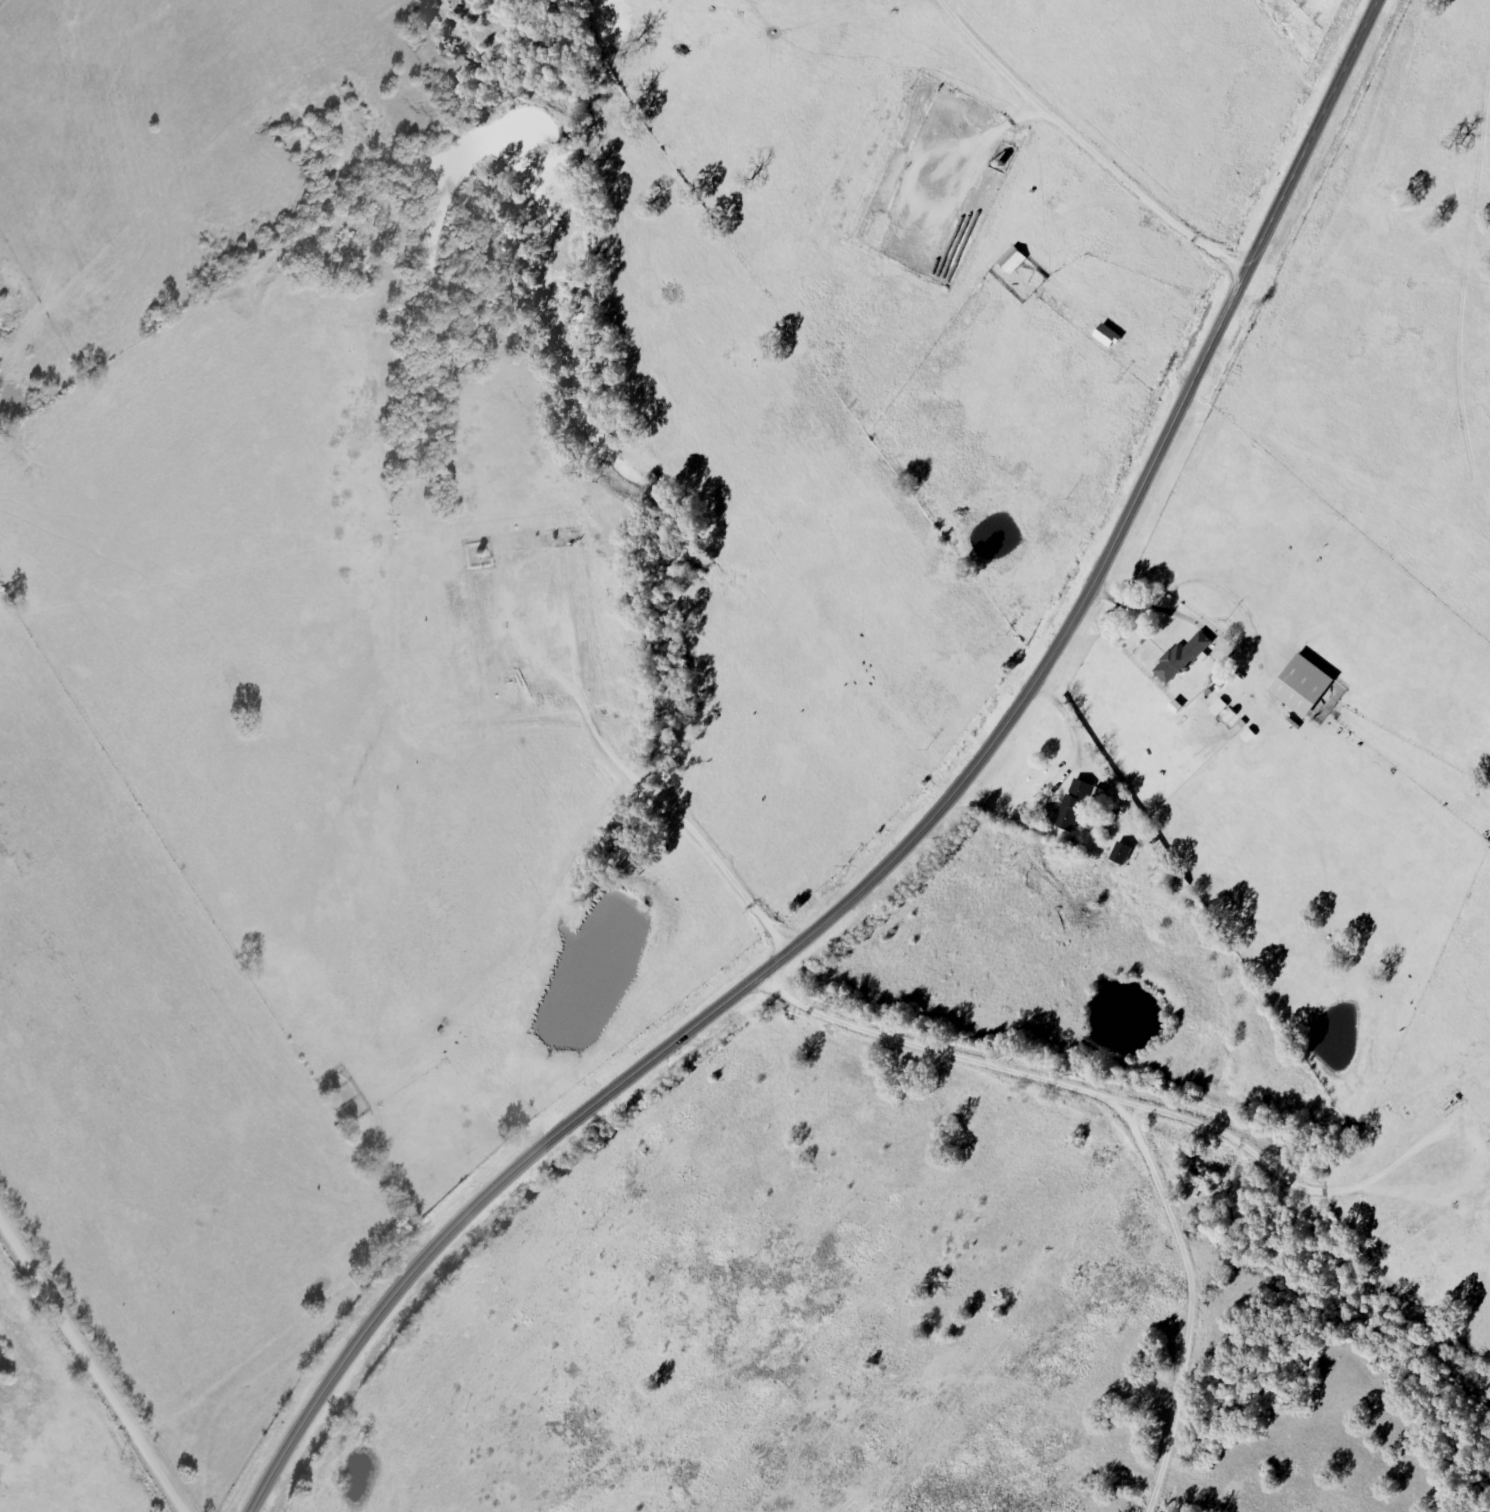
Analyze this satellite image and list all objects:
building: (1017, 261)
building: (1113, 337)
building: (1187, 660)
building: (1310, 687)
building: (1074, 805)
road: (914, 833)
building: (1122, 853)
road: (97, 1385)

